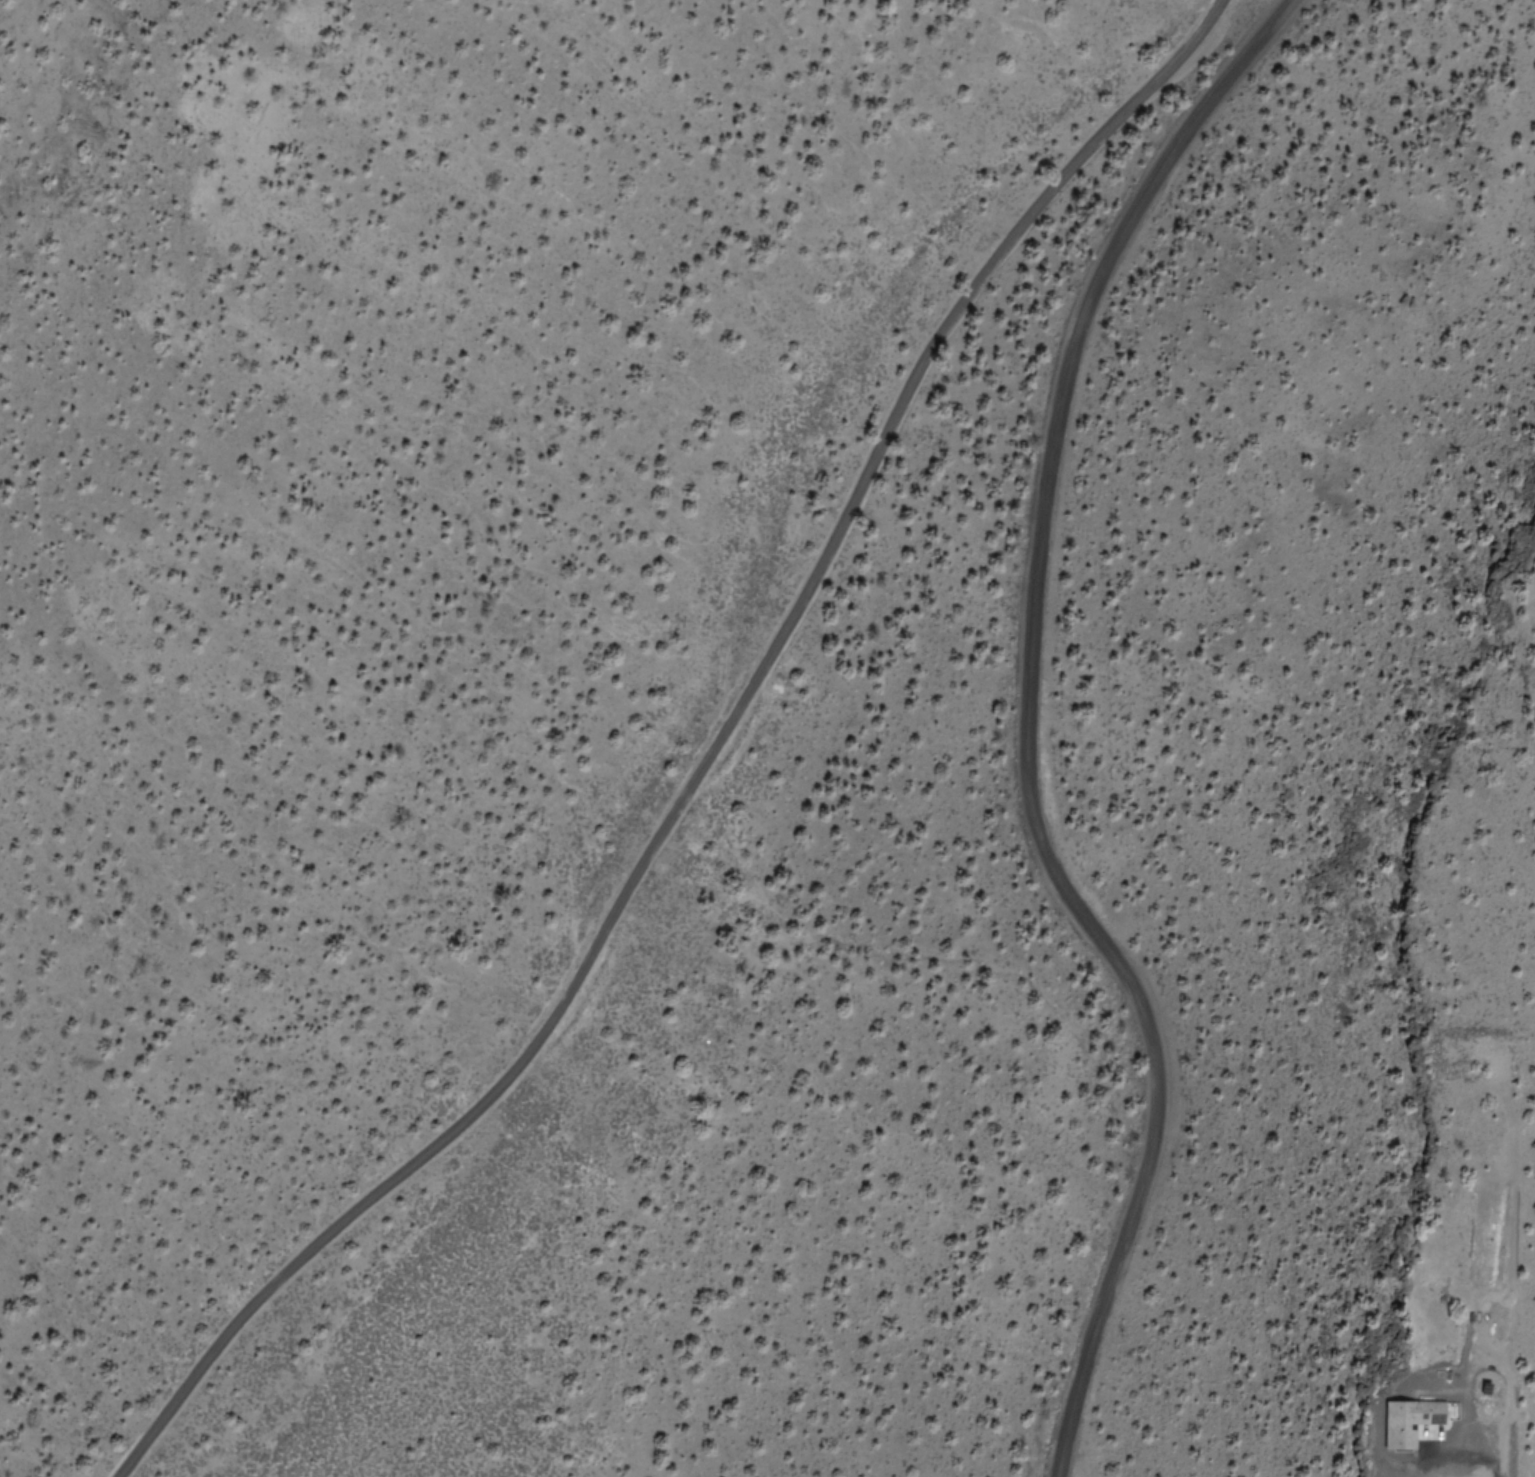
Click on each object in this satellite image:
road: (1034, 727)
road: (695, 771)
building: (1409, 1419)

